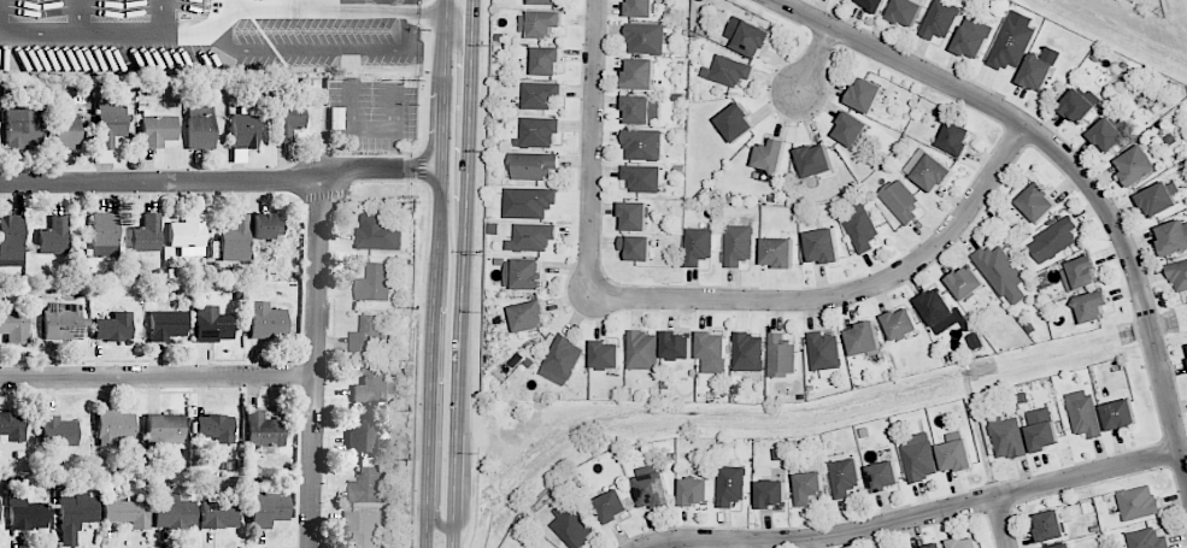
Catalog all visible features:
building: (349, 1)
building: (547, 1)
building: (876, 5)
building: (642, 8)
road: (340, 11)
building: (907, 12)
building: (942, 18)
building: (542, 24)
road: (124, 33)
building: (748, 36)
building: (647, 37)
building: (975, 37)
road: (460, 40)
building: (1015, 41)
road: (815, 59)
building: (548, 60)
building: (730, 72)
building: (1039, 72)
road: (425, 73)
building: (642, 75)
building: (542, 95)
building: (868, 96)
building: (1082, 105)
building: (641, 111)
building: (288, 120)
building: (110, 123)
building: (739, 123)
building: (23, 126)
building: (200, 128)
building: (157, 130)
building: (243, 130)
building: (853, 130)
building: (65, 131)
building: (537, 132)
building: (1110, 135)
building: (958, 139)
building: (644, 145)
road: (590, 148)
building: (774, 155)
building: (817, 161)
road: (422, 164)
road: (1070, 164)
building: (534, 165)
building: (1140, 166)
building: (935, 172)
building: (644, 178)
road: (221, 182)
building: (1160, 199)
building: (900, 200)
building: (1040, 202)
building: (529, 204)
building: (636, 216)
building: (266, 228)
building: (864, 229)
building: (378, 232)
building: (146, 234)
building: (104, 235)
building: (188, 235)
building: (53, 236)
building: (531, 238)
building: (1056, 238)
building: (1174, 238)
building: (11, 240)
building: (234, 240)
building: (739, 246)
building: (699, 247)
building: (825, 247)
building: (77, 248)
building: (639, 248)
building: (780, 254)
building: (1004, 272)
road: (435, 273)
road: (460, 273)
road: (477, 273)
building: (1082, 273)
building: (530, 276)
building: (1180, 276)
building: (374, 282)
building: (969, 283)
road: (841, 294)
building: (1094, 306)
building: (939, 307)
building: (531, 317)
building: (61, 322)
building: (265, 322)
building: (13, 324)
building: (212, 324)
building: (166, 325)
building: (904, 325)
building: (113, 328)
building: (370, 335)
building: (866, 340)
building: (976, 341)
building: (1186, 344)
building: (677, 347)
building: (642, 352)
building: (825, 352)
building: (715, 353)
building: (751, 353)
building: (607, 355)
building: (782, 357)
building: (562, 359)
road: (417, 364)
road: (318, 365)
road: (159, 379)
building: (372, 385)
building: (1086, 413)
building: (1123, 413)
building: (11, 428)
building: (113, 428)
building: (215, 428)
building: (164, 429)
building: (263, 430)
building: (58, 431)
building: (362, 434)
building: (1046, 435)
building: (1009, 437)
building: (958, 455)
building: (921, 461)
building: (886, 476)
building: (845, 477)
building: (369, 487)
building: (733, 487)
building: (654, 488)
building: (810, 488)
building: (698, 490)
building: (774, 494)
building: (1140, 503)
building: (615, 505)
building: (266, 508)
building: (128, 512)
building: (25, 513)
building: (174, 513)
building: (218, 513)
building: (75, 515)
road: (915, 515)
road: (433, 518)
road: (1003, 522)
building: (571, 525)
building: (1052, 526)
building: (364, 528)
building: (1147, 538)
building: (965, 542)
building: (936, 546)
building: (1065, 546)
building: (539, 547)
building: (542, 547)
building: (546, 547)

